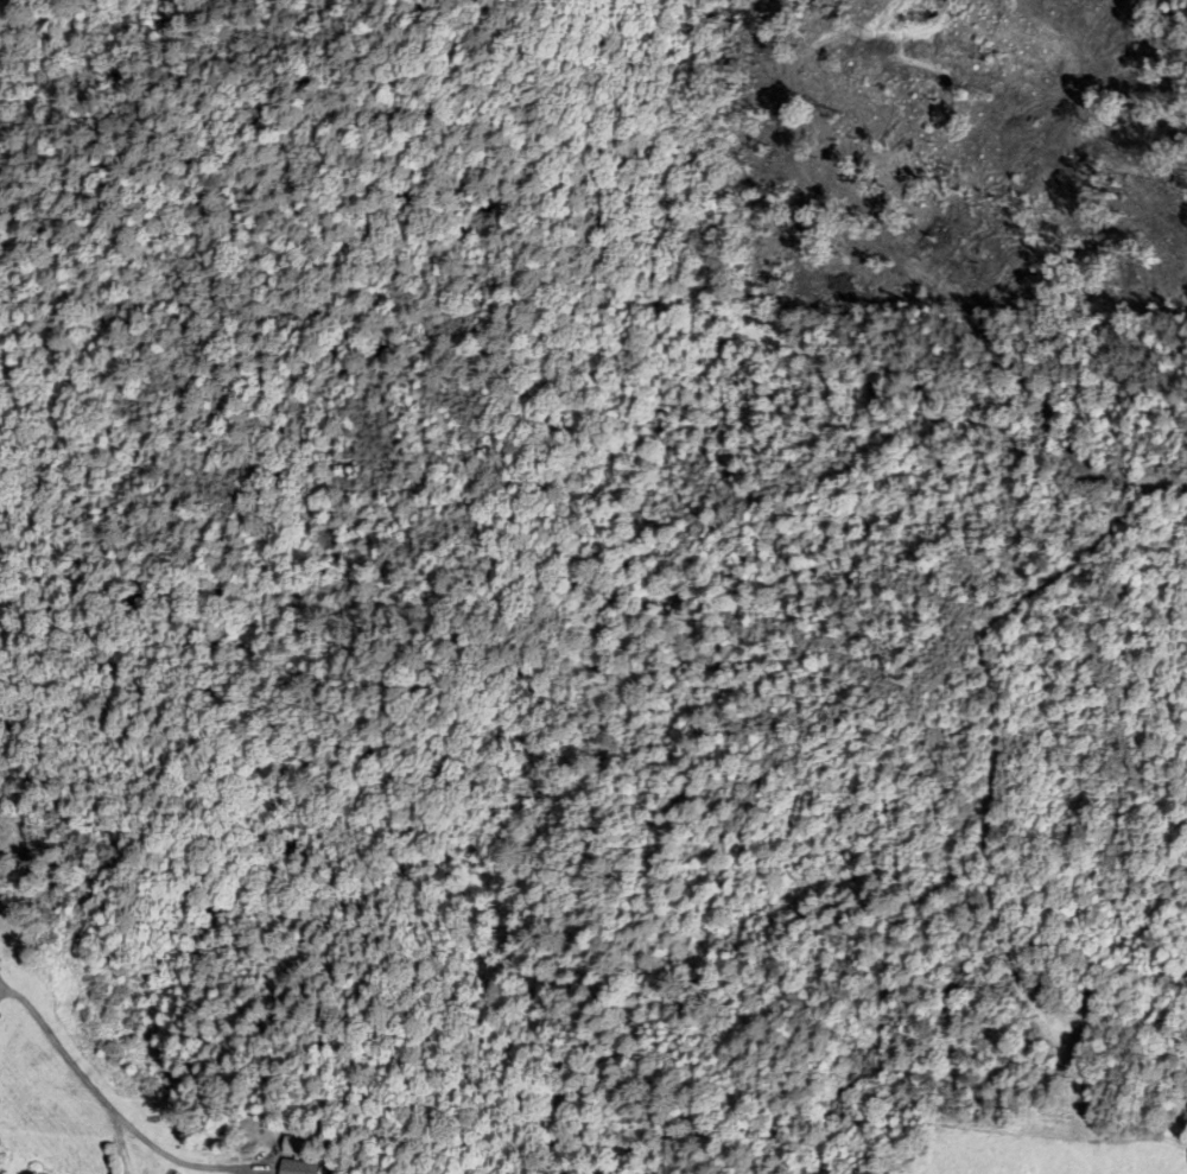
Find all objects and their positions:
road: (114, 1111)
building: (296, 1168)

